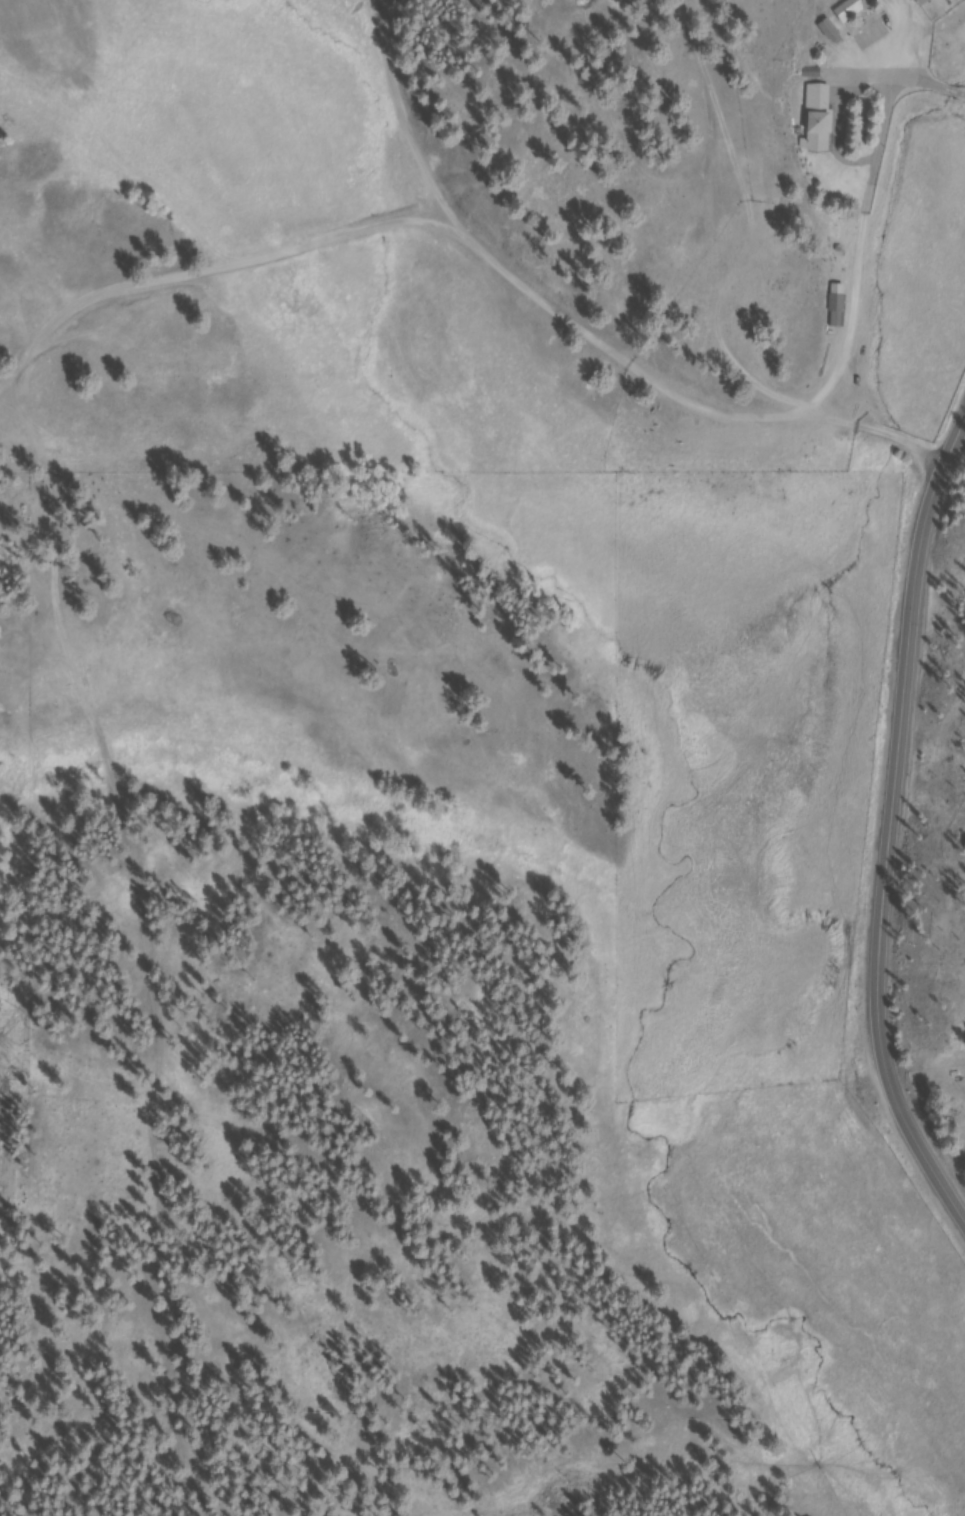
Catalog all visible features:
building: (880, 0)
building: (929, 4)
building: (857, 11)
building: (823, 122)
road: (862, 233)
building: (836, 295)
road: (582, 327)
road: (891, 830)

